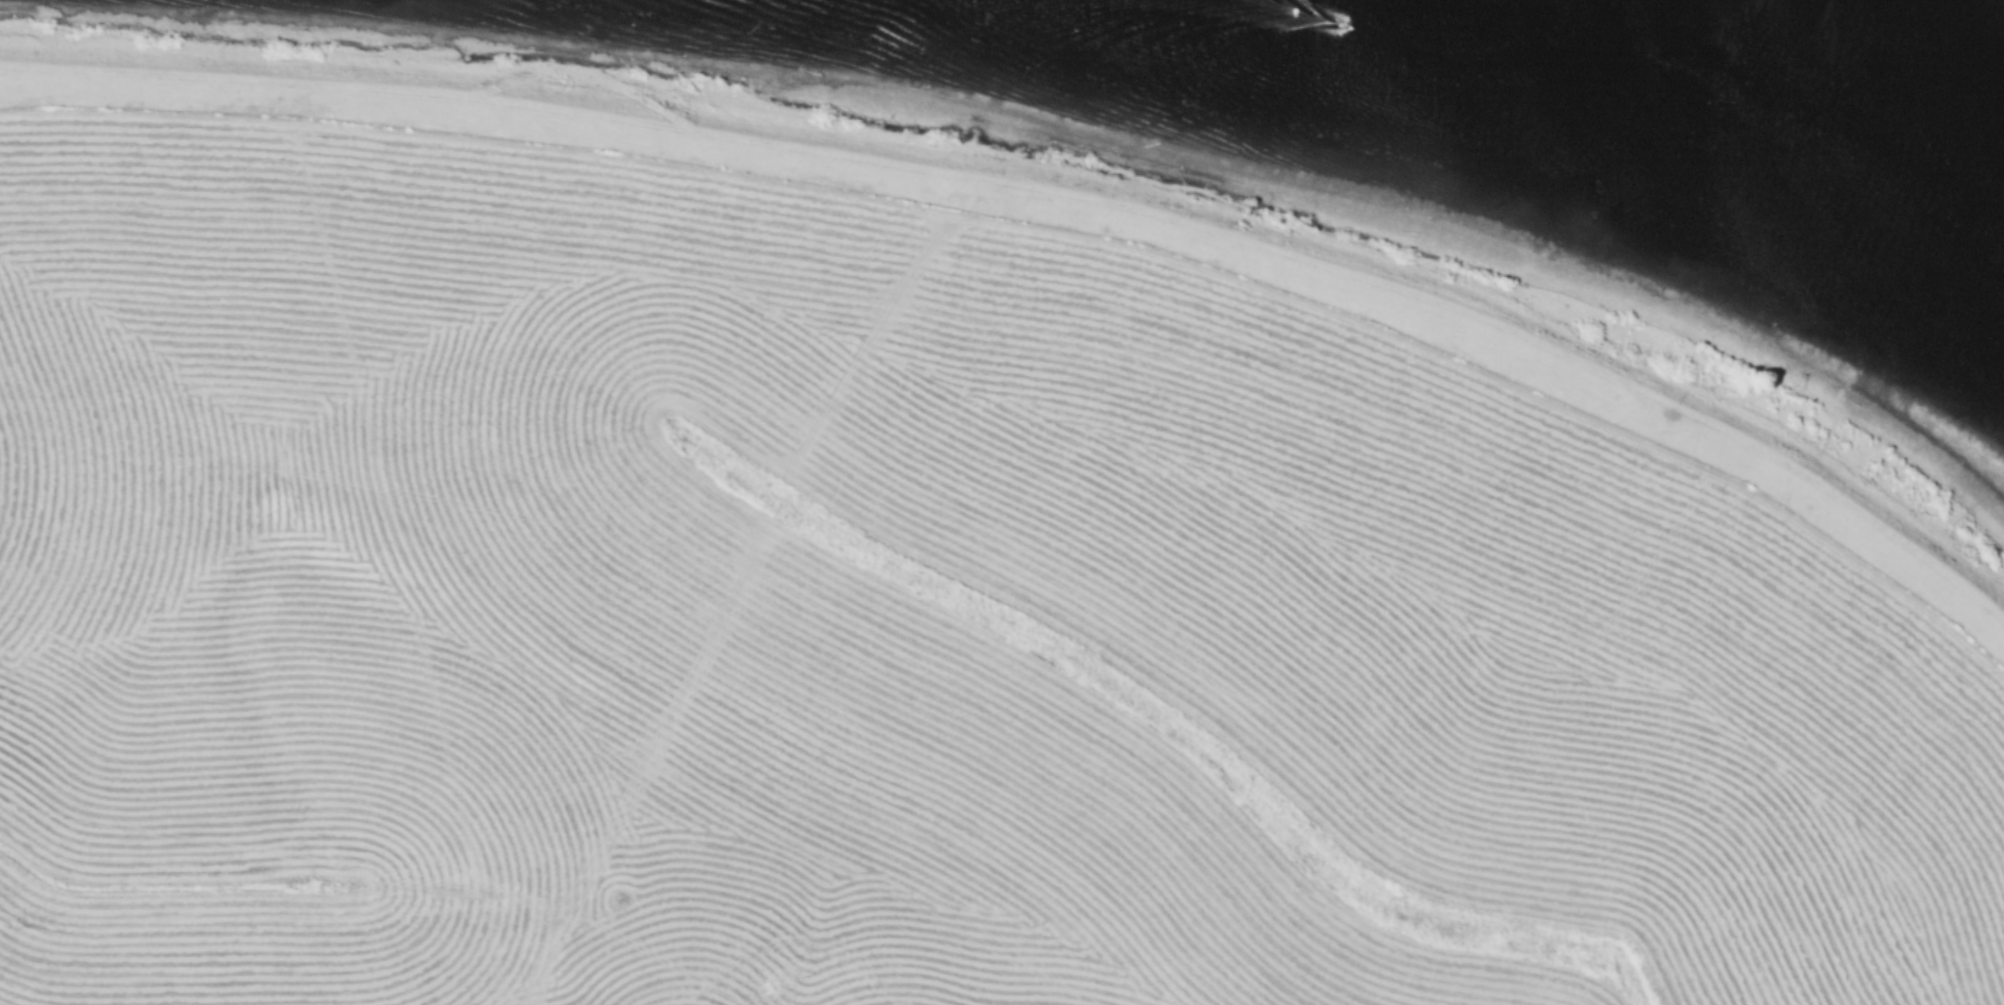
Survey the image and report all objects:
river: (1764, 89)
road: (1047, 197)
crop: (887, 629)

